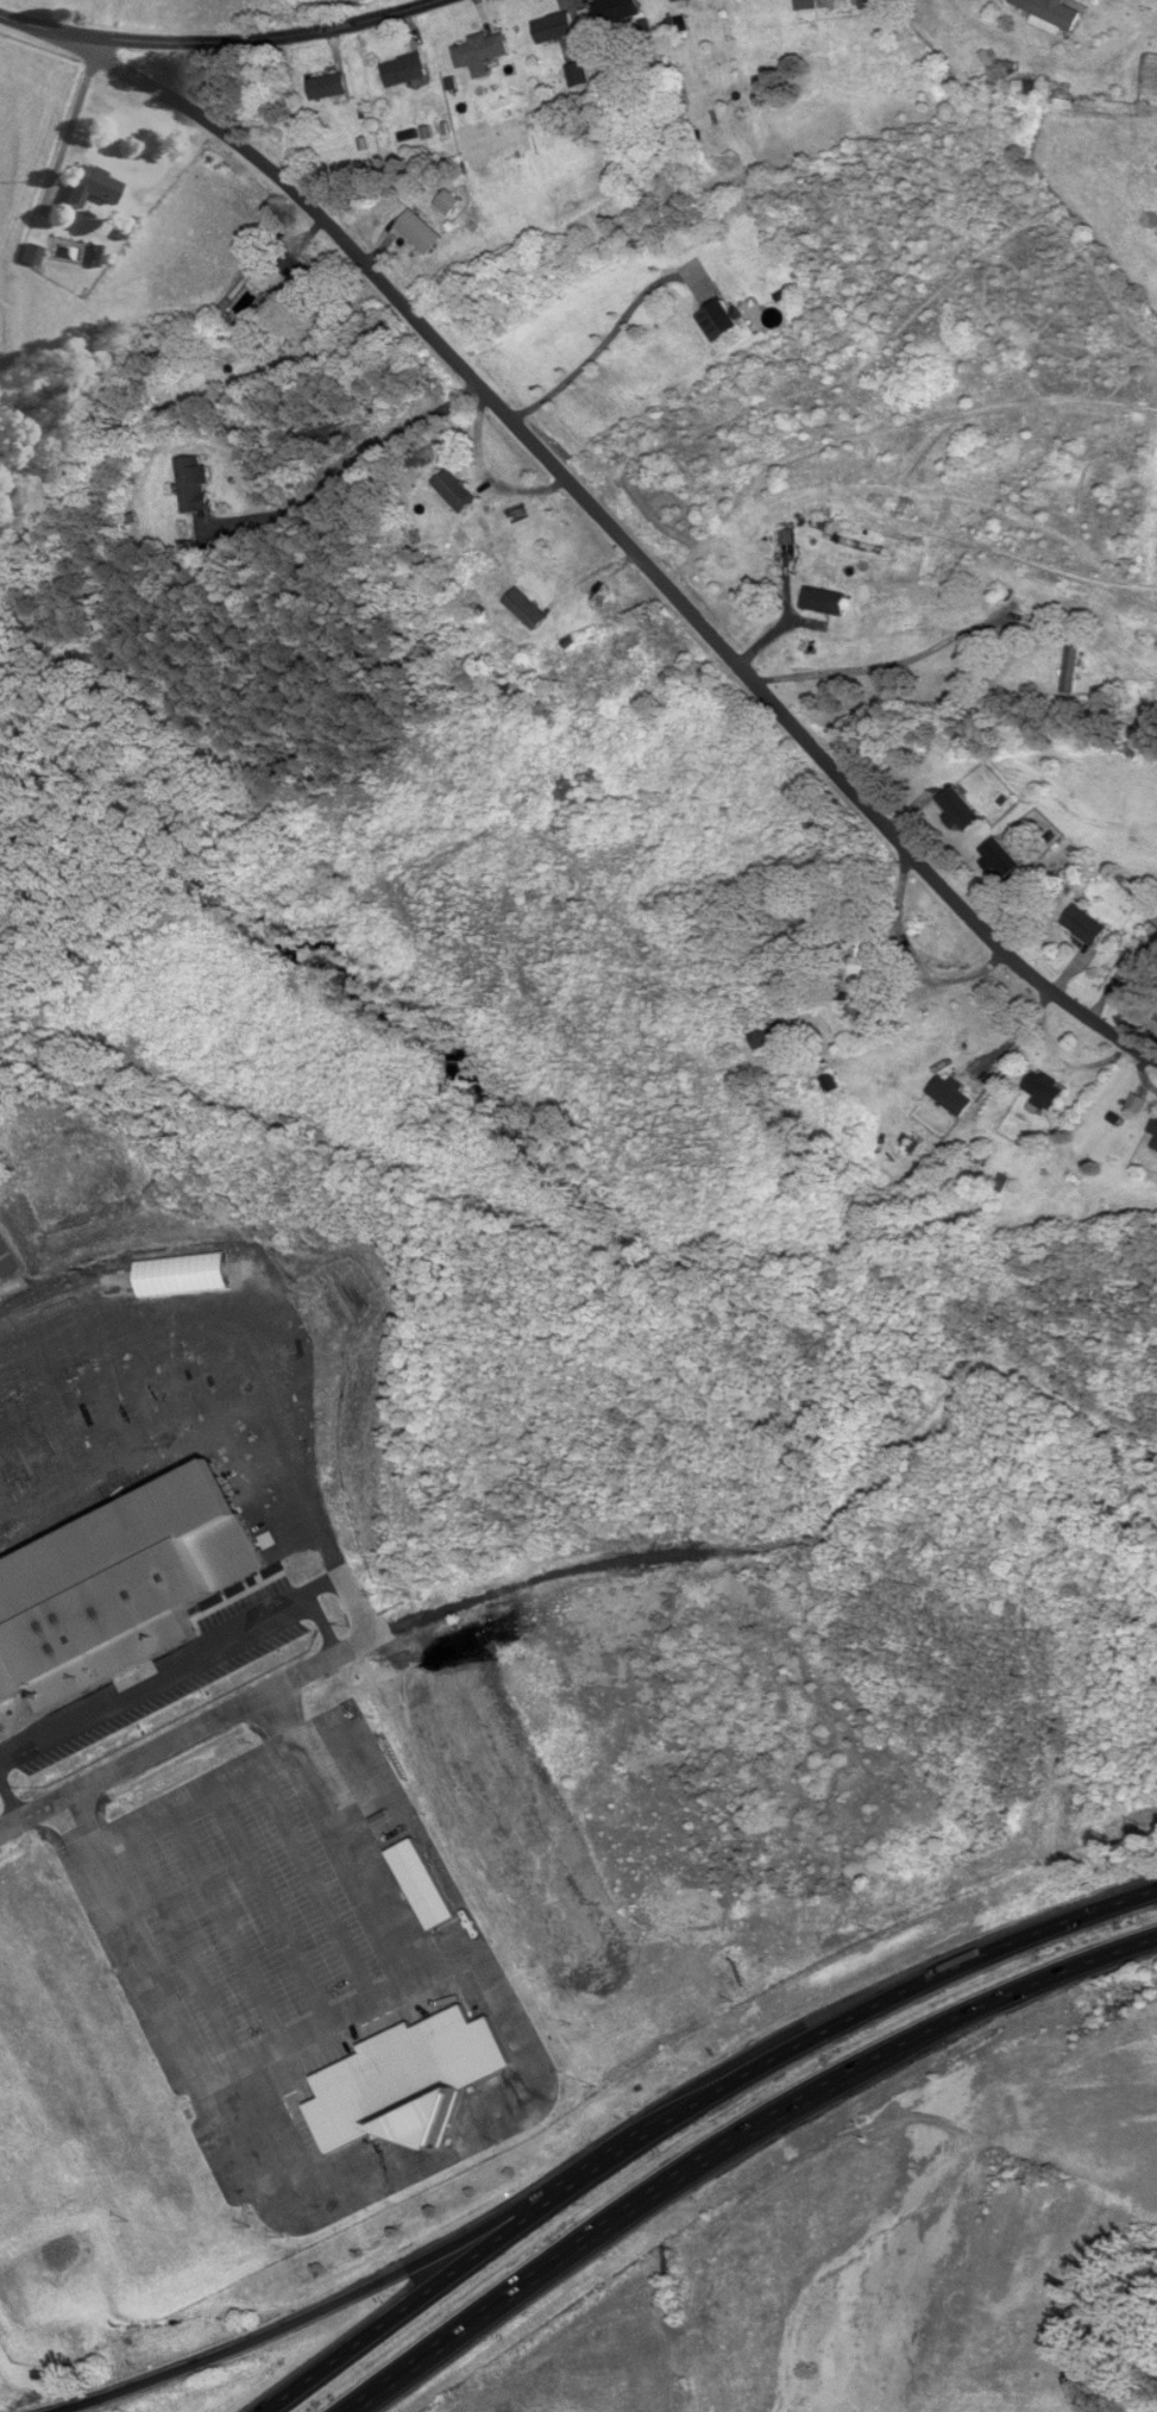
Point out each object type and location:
building: (677, 0)
building: (806, 5)
building: (866, 5)
building: (615, 11)
building: (1052, 15)
building: (553, 29)
road: (219, 43)
building: (480, 54)
building: (403, 71)
building: (577, 75)
building: (328, 89)
building: (92, 187)
building: (447, 203)
building: (417, 233)
building: (30, 255)
building: (298, 275)
building: (718, 322)
road: (597, 350)
road: (350, 471)
building: (194, 486)
building: (454, 494)
building: (844, 529)
road: (622, 539)
building: (787, 542)
building: (823, 603)
building: (526, 610)
road: (886, 666)
building: (1070, 666)
road: (616, 697)
building: (958, 811)
building: (999, 860)
building: (1083, 927)
building: (859, 959)
road: (910, 961)
road: (1117, 975)
building: (769, 1037)
building: (829, 1085)
building: (1044, 1092)
building: (1153, 1130)
building: (1155, 1145)
road: (352, 1650)
building: (422, 1886)
parking lot: (264, 1901)
road: (312, 2024)
building: (410, 2081)
road: (683, 2105)
road: (732, 2140)
road: (435, 2212)
road: (603, 2267)

